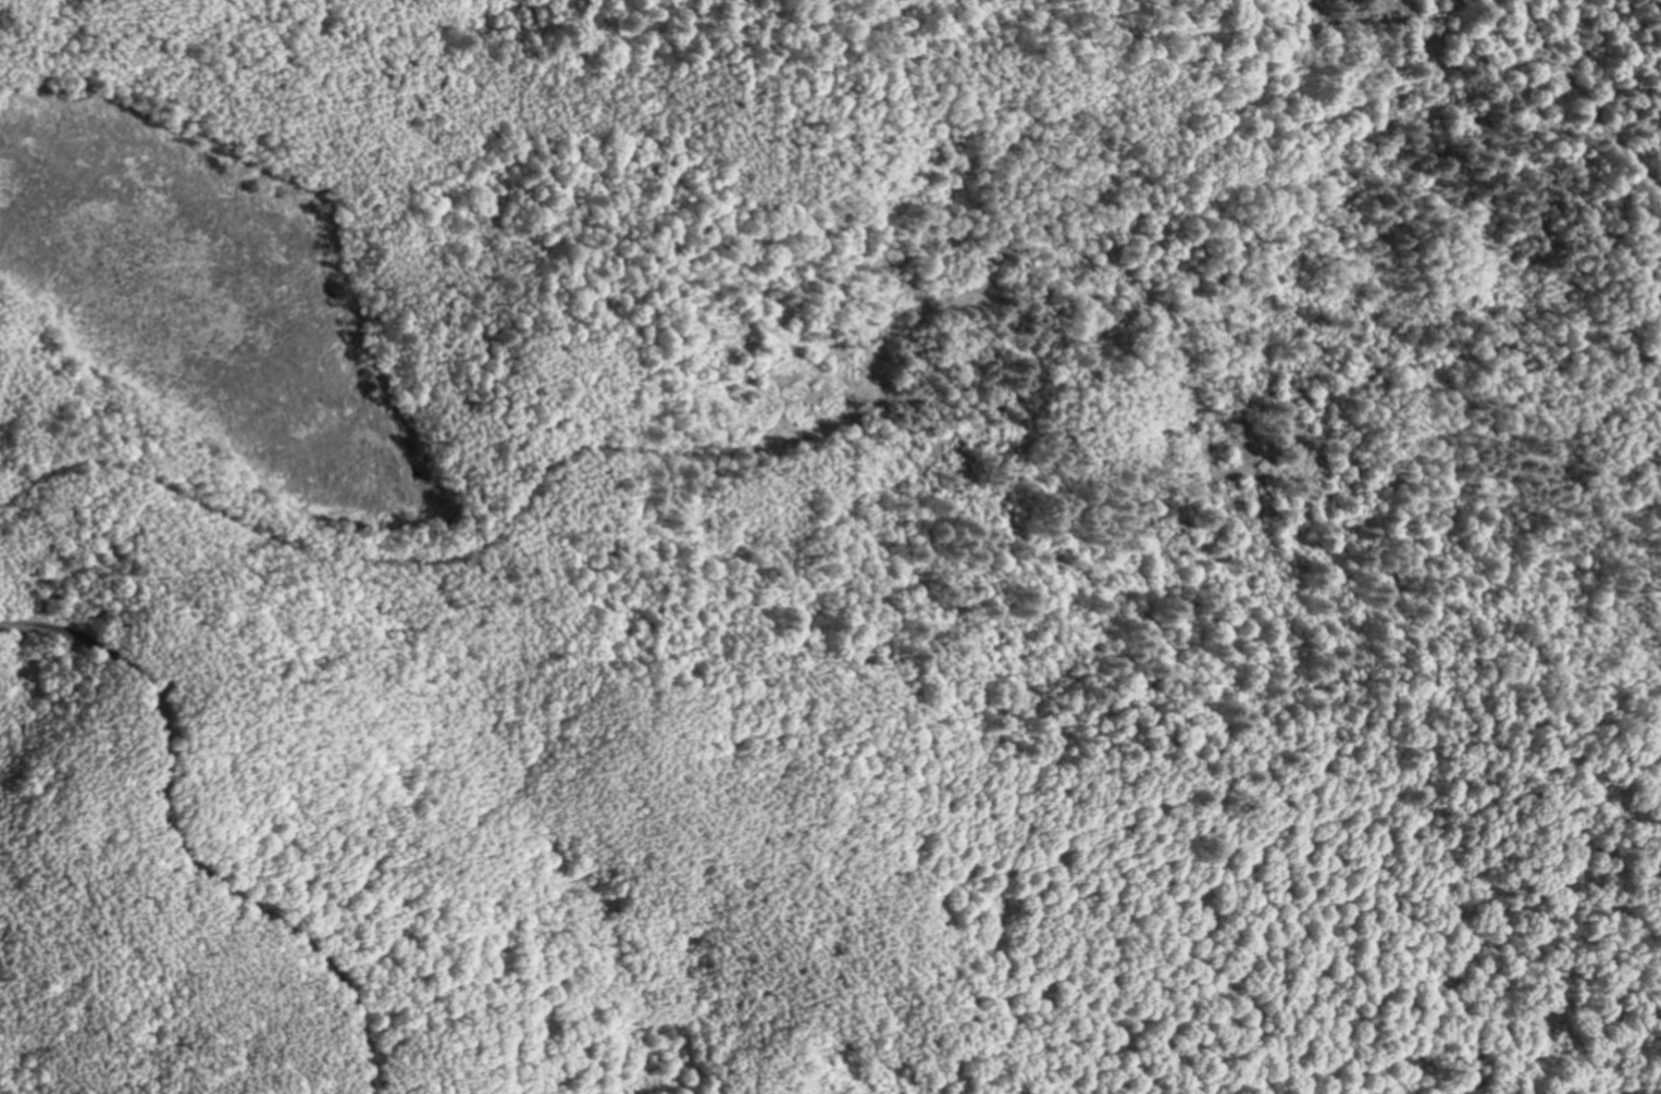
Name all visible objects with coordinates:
road: (1581, 107)

